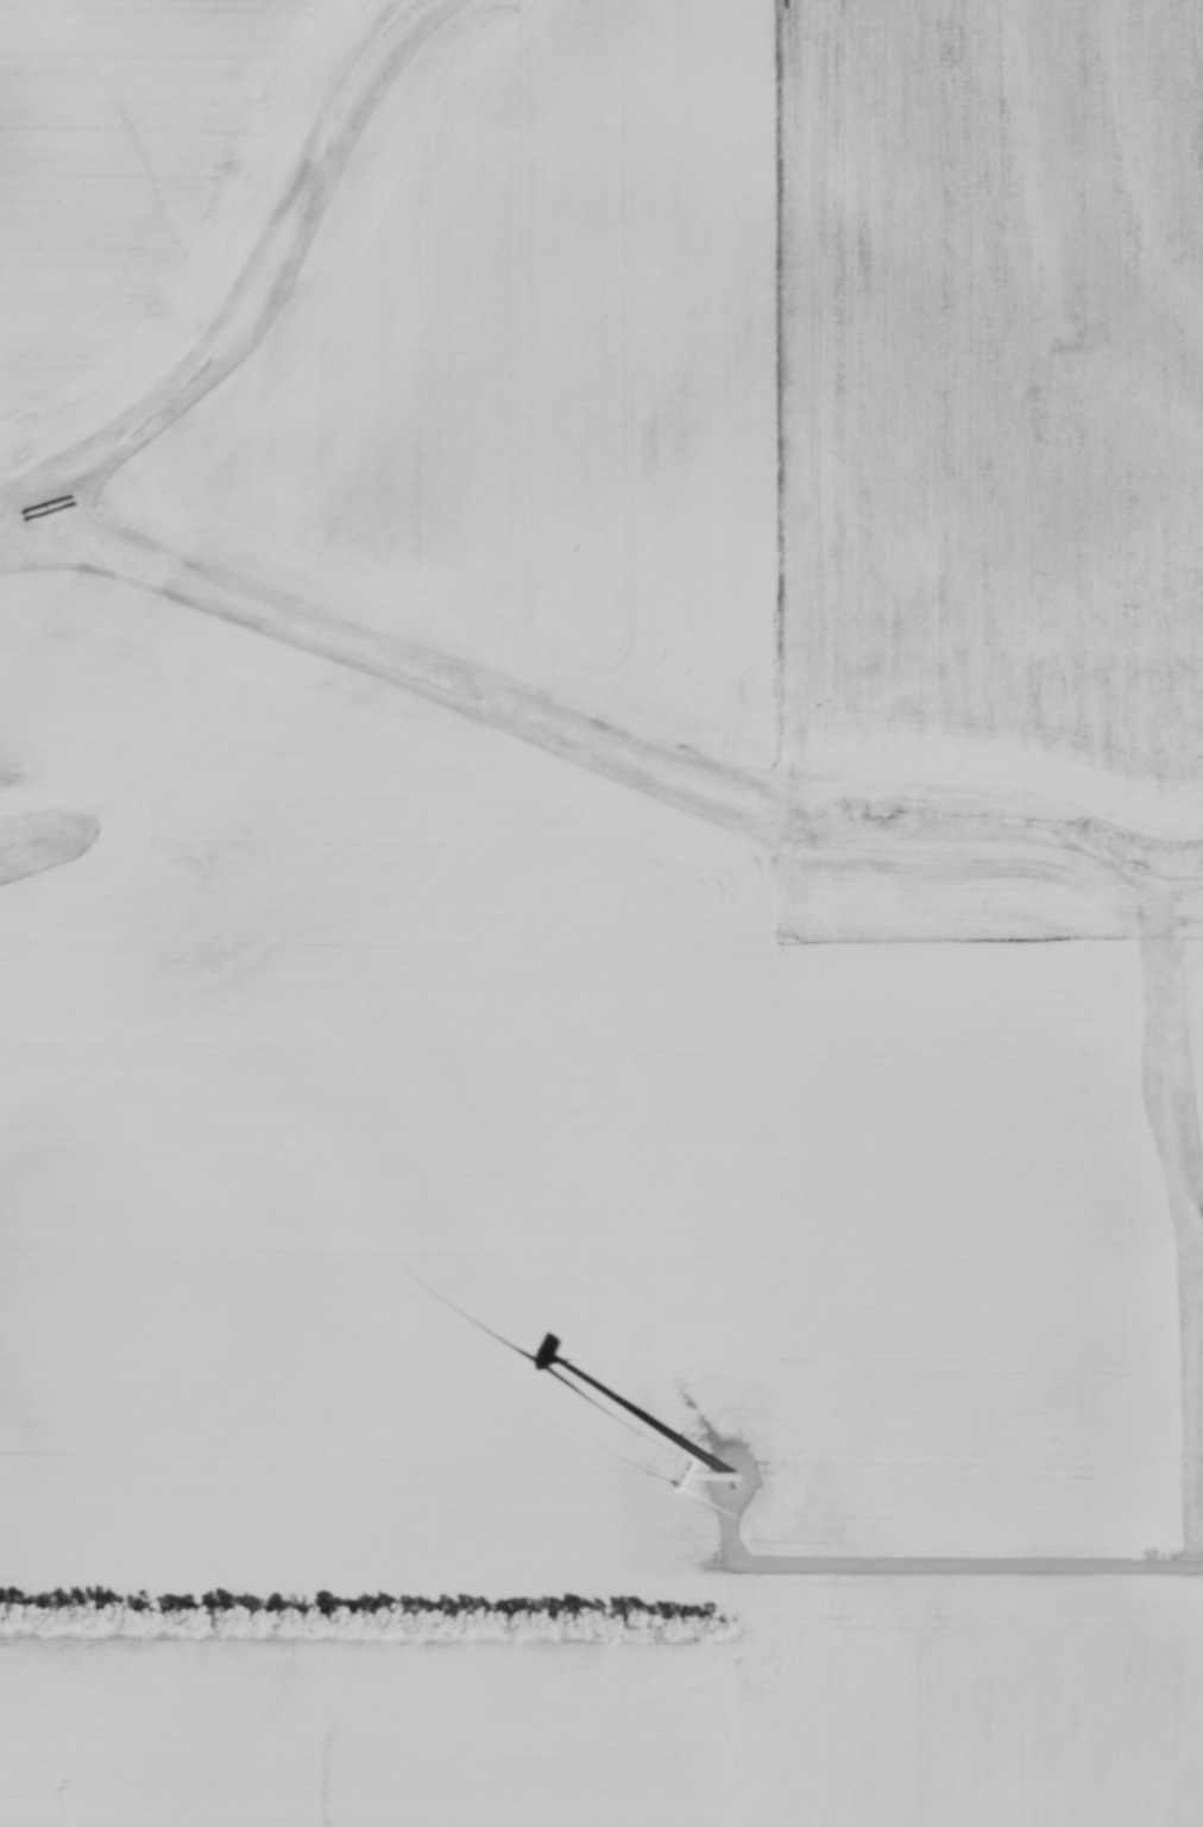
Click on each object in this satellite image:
wind turbine: (729, 1480)

